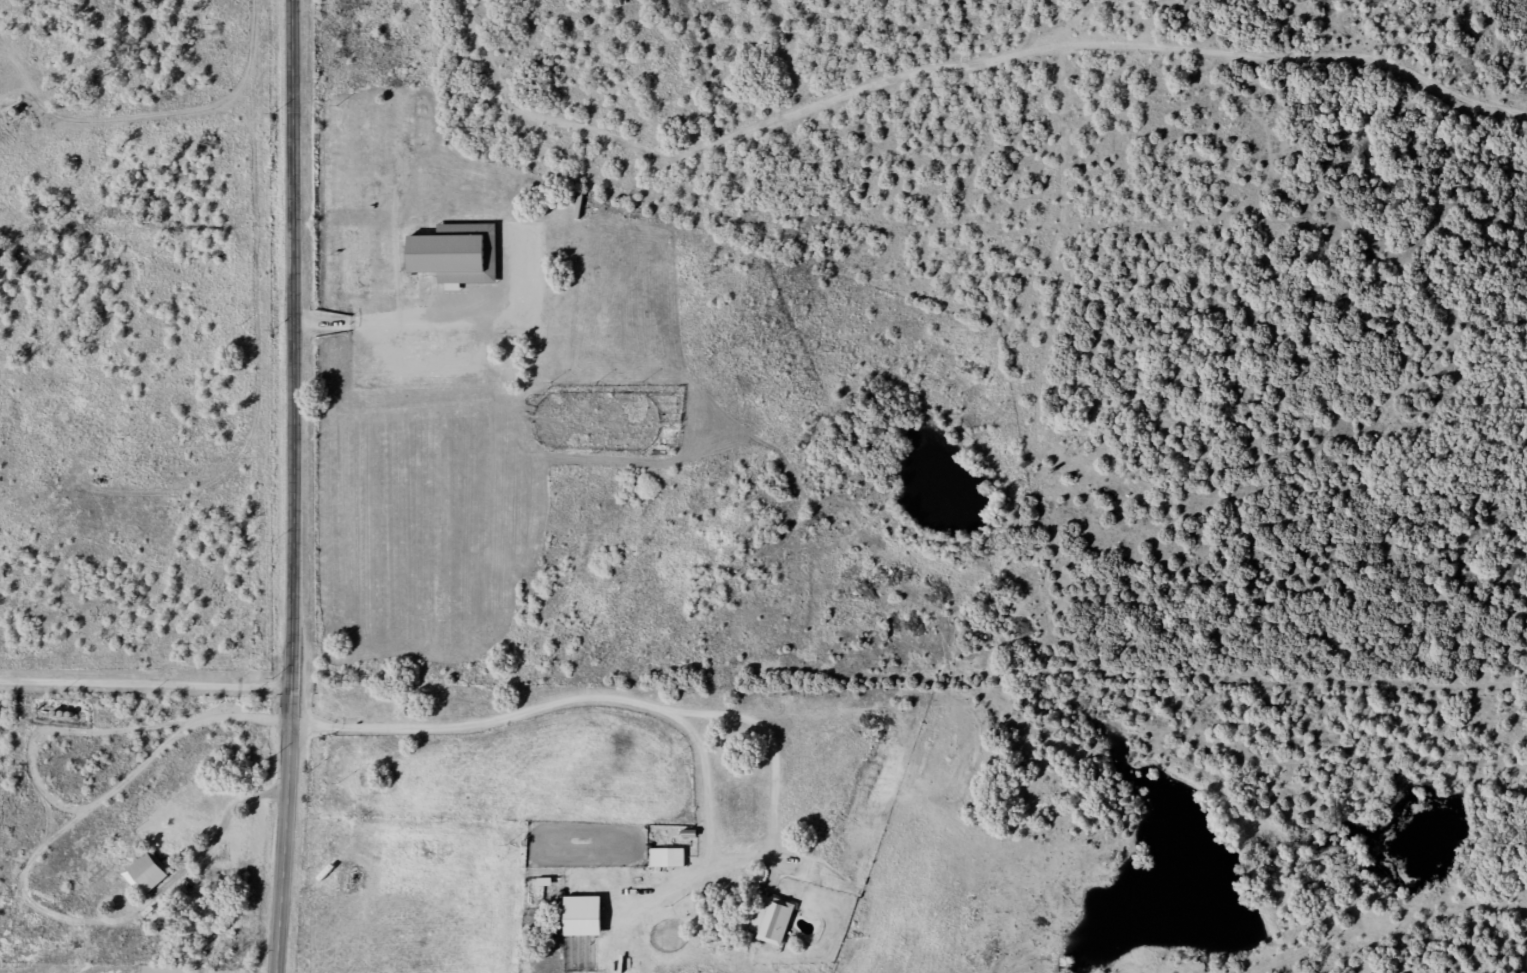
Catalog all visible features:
road: (763, 159)
building: (456, 257)
road: (291, 365)
road: (583, 704)
road: (285, 851)
road: (892, 860)
building: (667, 861)
building: (148, 874)
building: (582, 920)
building: (772, 923)

